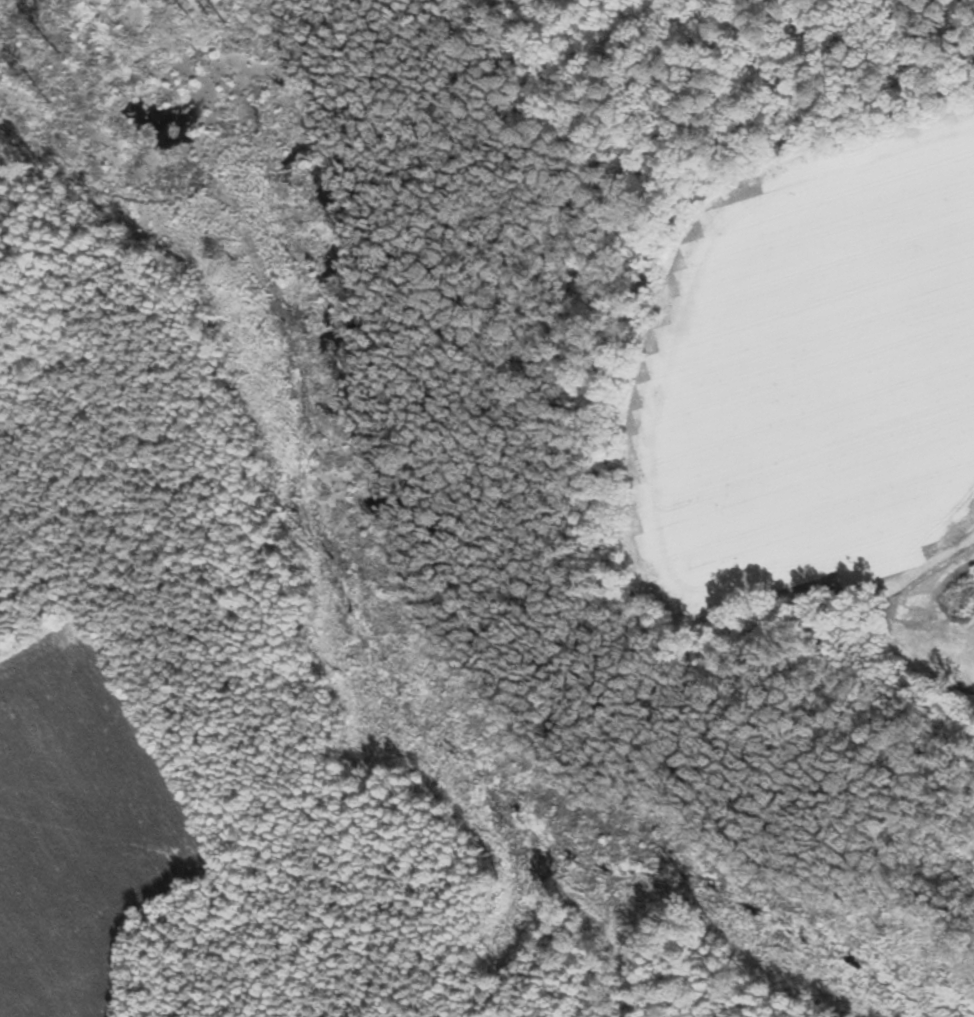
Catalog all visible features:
road: (967, 565)
building: (919, 613)

